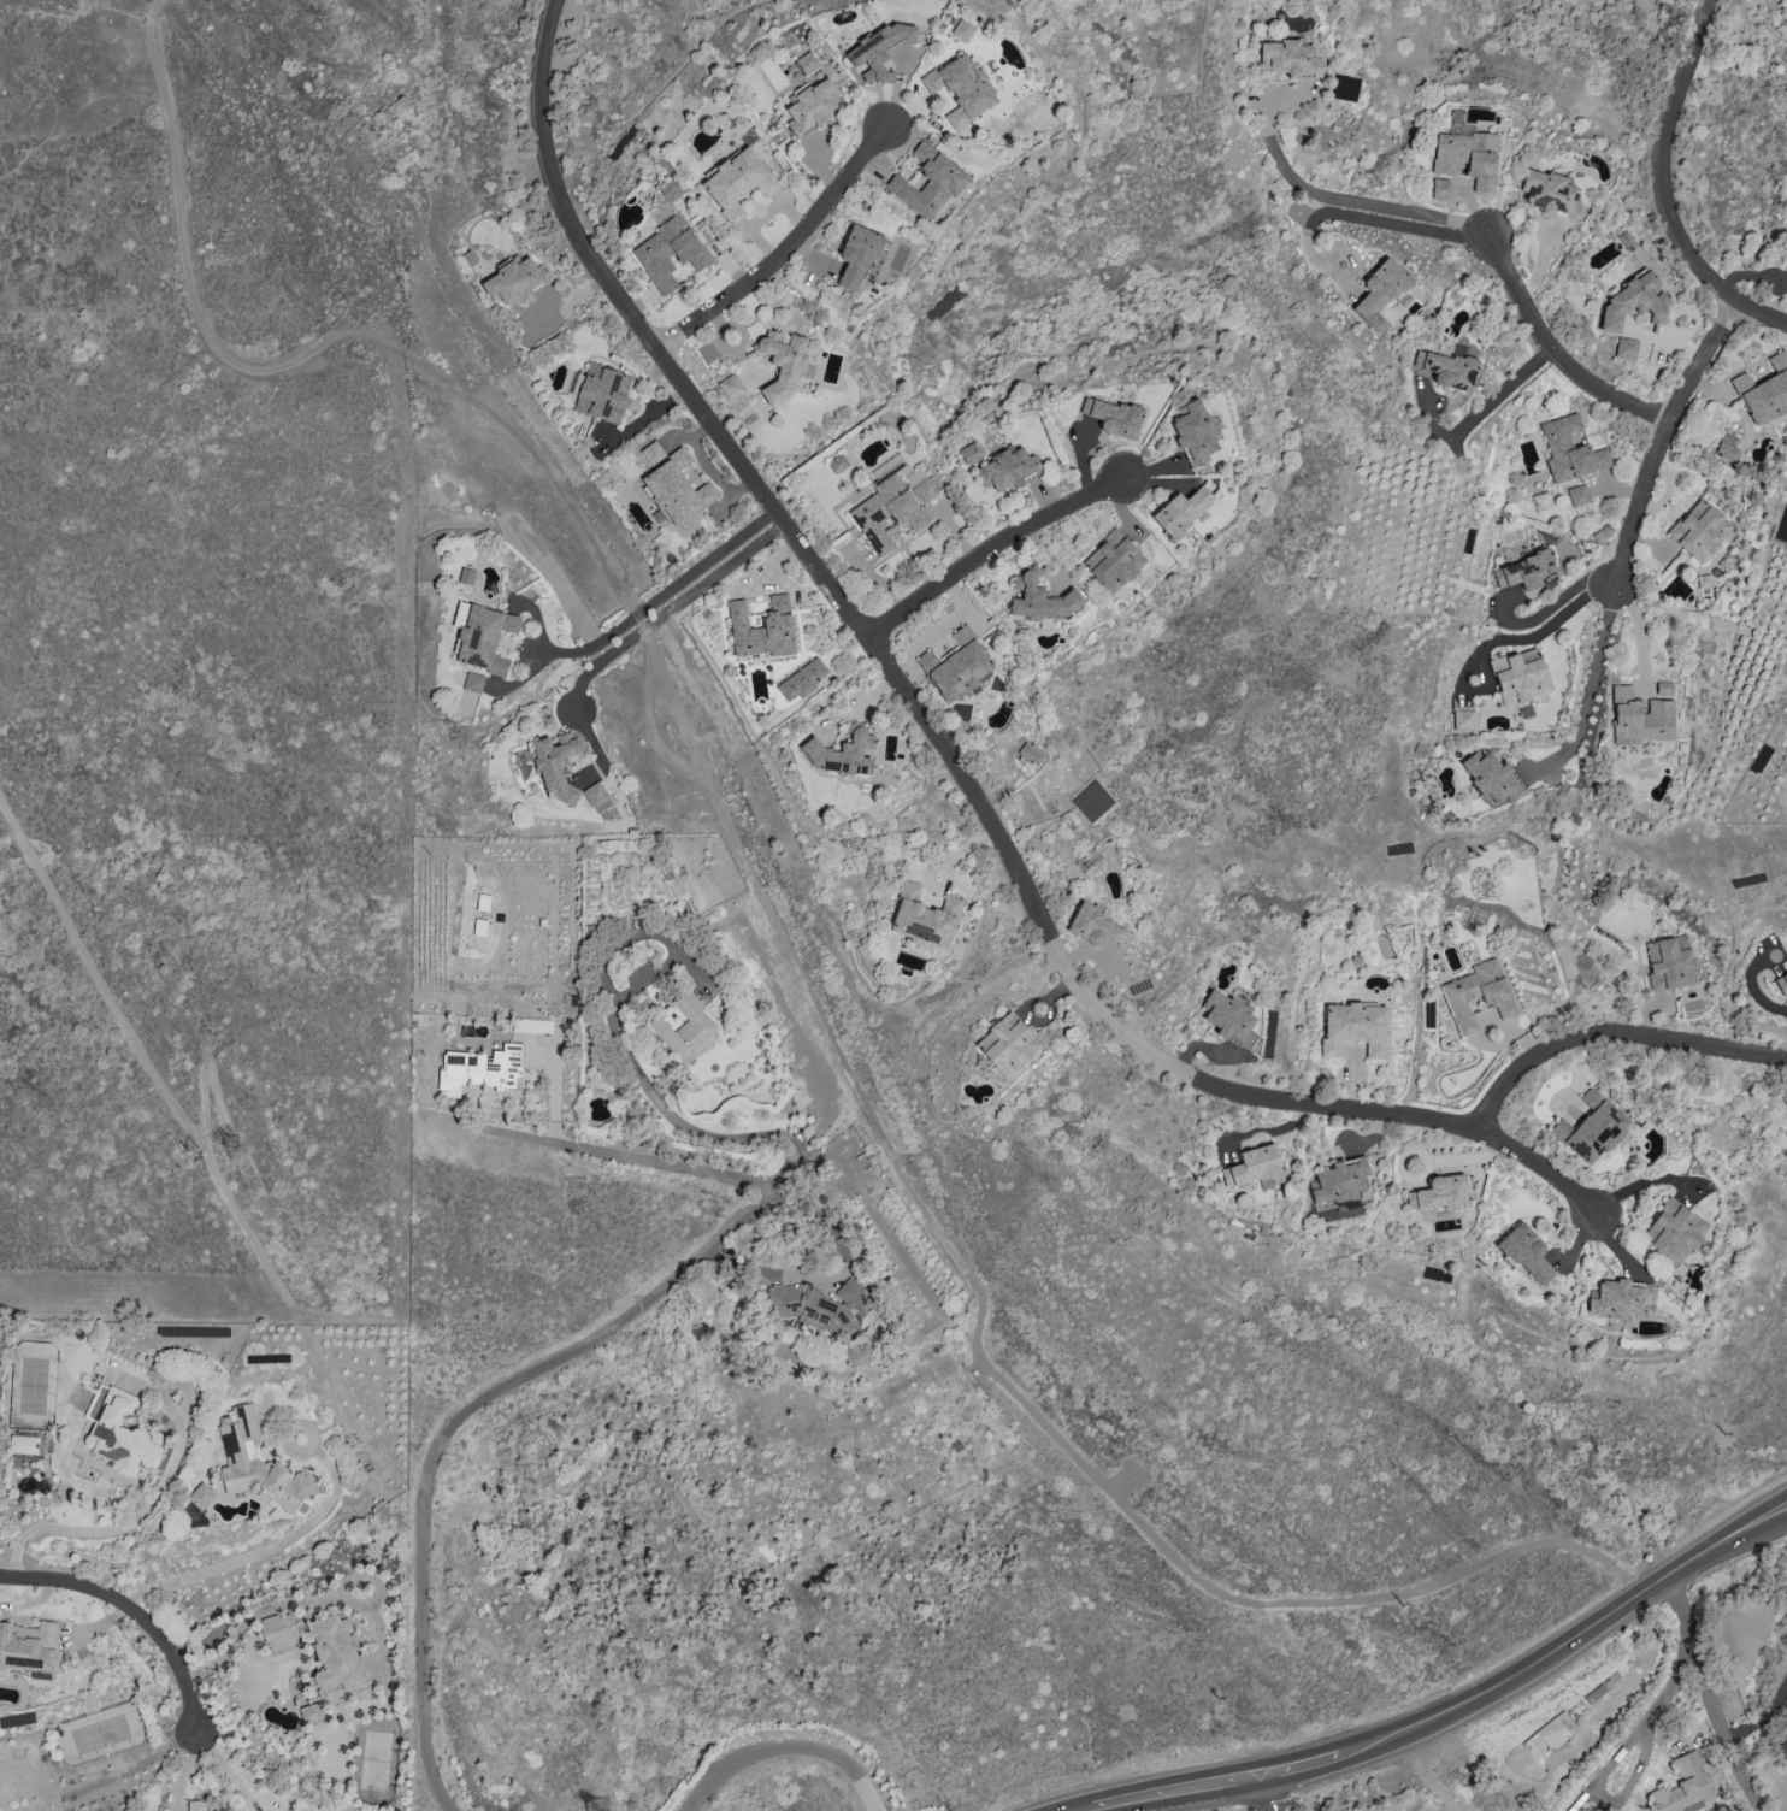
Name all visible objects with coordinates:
building: (962, 30)
building: (880, 49)
building: (1291, 58)
building: (806, 63)
building: (1344, 87)
building: (961, 88)
building: (810, 106)
building: (1467, 155)
road: (1677, 181)
building: (737, 182)
building: (928, 182)
building: (1440, 189)
building: (1549, 194)
road: (1328, 197)
road: (1363, 219)
road: (785, 250)
building: (668, 253)
building: (856, 256)
building: (514, 282)
building: (1379, 294)
building: (1634, 302)
building: (1624, 348)
road: (1556, 350)
building: (783, 361)
building: (1449, 367)
building: (730, 387)
building: (598, 391)
building: (1764, 391)
road: (1481, 412)
building: (1113, 417)
building: (1195, 432)
road: (1668, 435)
building: (1728, 449)
building: (1569, 450)
building: (969, 453)
building: (837, 464)
building: (1007, 470)
building: (673, 484)
building: (925, 490)
building: (1577, 495)
building: (1180, 512)
building: (885, 513)
building: (1702, 530)
road: (987, 548)
building: (1113, 561)
building: (1526, 572)
building: (465, 576)
road: (667, 588)
building: (1039, 598)
building: (761, 629)
road: (636, 632)
road: (1639, 632)
road: (1541, 633)
building: (483, 638)
building: (956, 667)
building: (1520, 676)
building: (802, 679)
building: (472, 682)
road: (1593, 691)
building: (1642, 715)
building: (1463, 720)
road: (654, 736)
road: (944, 745)
building: (842, 754)
building: (1031, 754)
building: (556, 765)
building: (1491, 778)
building: (596, 797)
building: (924, 919)
building: (1096, 927)
road: (784, 931)
building: (1669, 962)
building: (1781, 985)
road: (1756, 993)
building: (1478, 995)
building: (1228, 1017)
building: (532, 1025)
building: (685, 1027)
building: (1355, 1028)
road: (1615, 1043)
building: (1007, 1044)
road: (136, 1049)
road: (632, 1069)
building: (478, 1070)
building: (1591, 1128)
road: (763, 1133)
power tower: (183, 1145)
power tower: (232, 1150)
road: (602, 1152)
building: (1252, 1166)
building: (1339, 1180)
road: (1640, 1182)
building: (1439, 1193)
building: (1674, 1232)
building: (1526, 1253)
road: (833, 1284)
building: (1617, 1299)
building: (822, 1306)
road: (470, 1408)
building: (120, 1435)
building: (23, 1444)
power tower: (355, 1449)
building: (255, 1462)
building: (200, 1496)
road: (124, 1524)
road: (267, 1551)
road: (129, 1612)
road: (255, 1615)
building: (278, 1630)
road: (1567, 1638)
building: (28, 1648)
road: (1699, 1654)
building: (337, 1660)
building: (311, 1712)
road: (1763, 1716)
road: (788, 1747)
road: (1623, 1747)
road: (1301, 1762)
road: (226, 1768)
road: (1421, 1772)
road: (1745, 1772)
road: (1176, 1786)
building: (1683, 1786)
road: (1266, 1791)
building: (195, 1805)
road: (1079, 1807)

